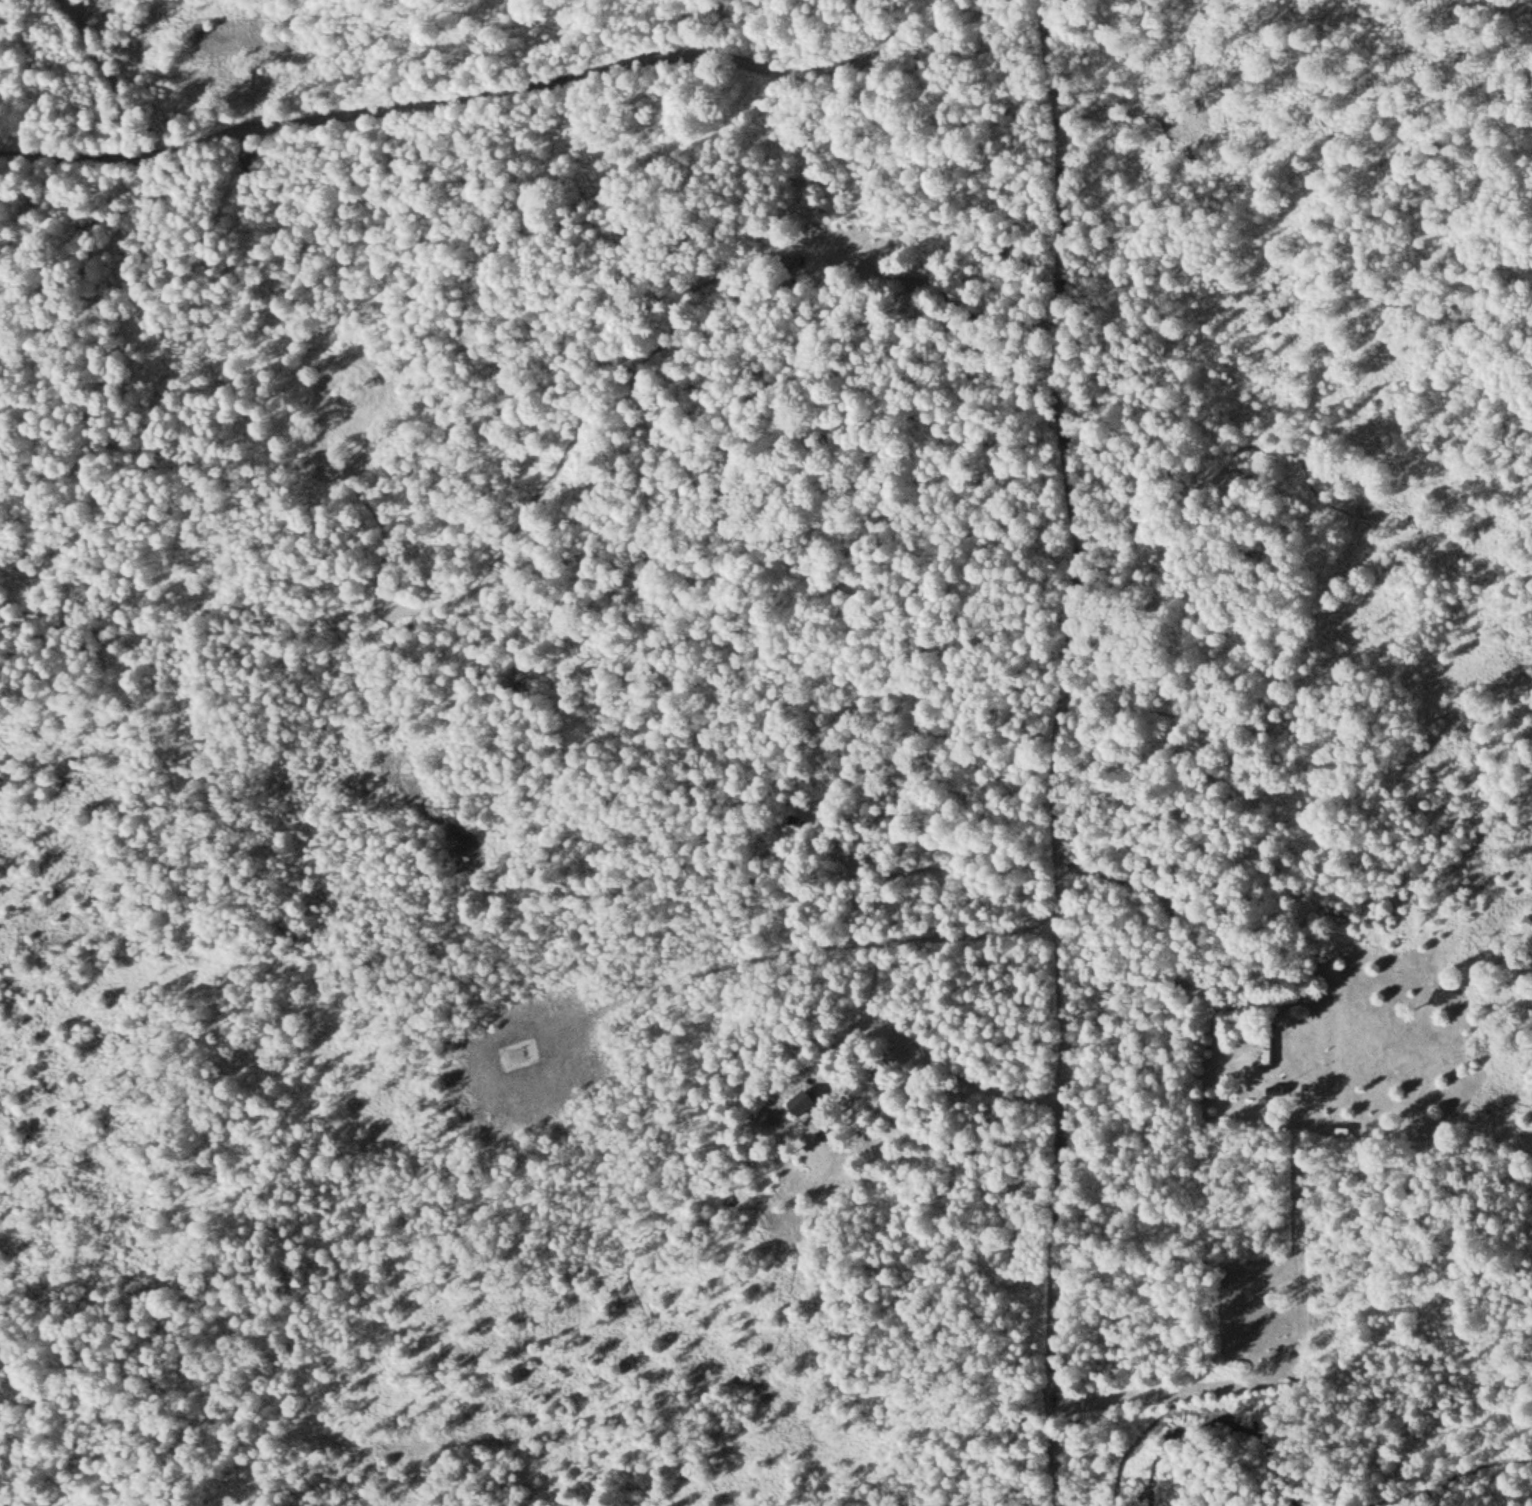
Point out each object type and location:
road: (488, 95)
building: (1194, 133)
road: (1063, 751)
road: (1187, 945)
road: (726, 965)
petroleum well: (519, 1054)
building: (808, 1107)
road: (1285, 1373)

